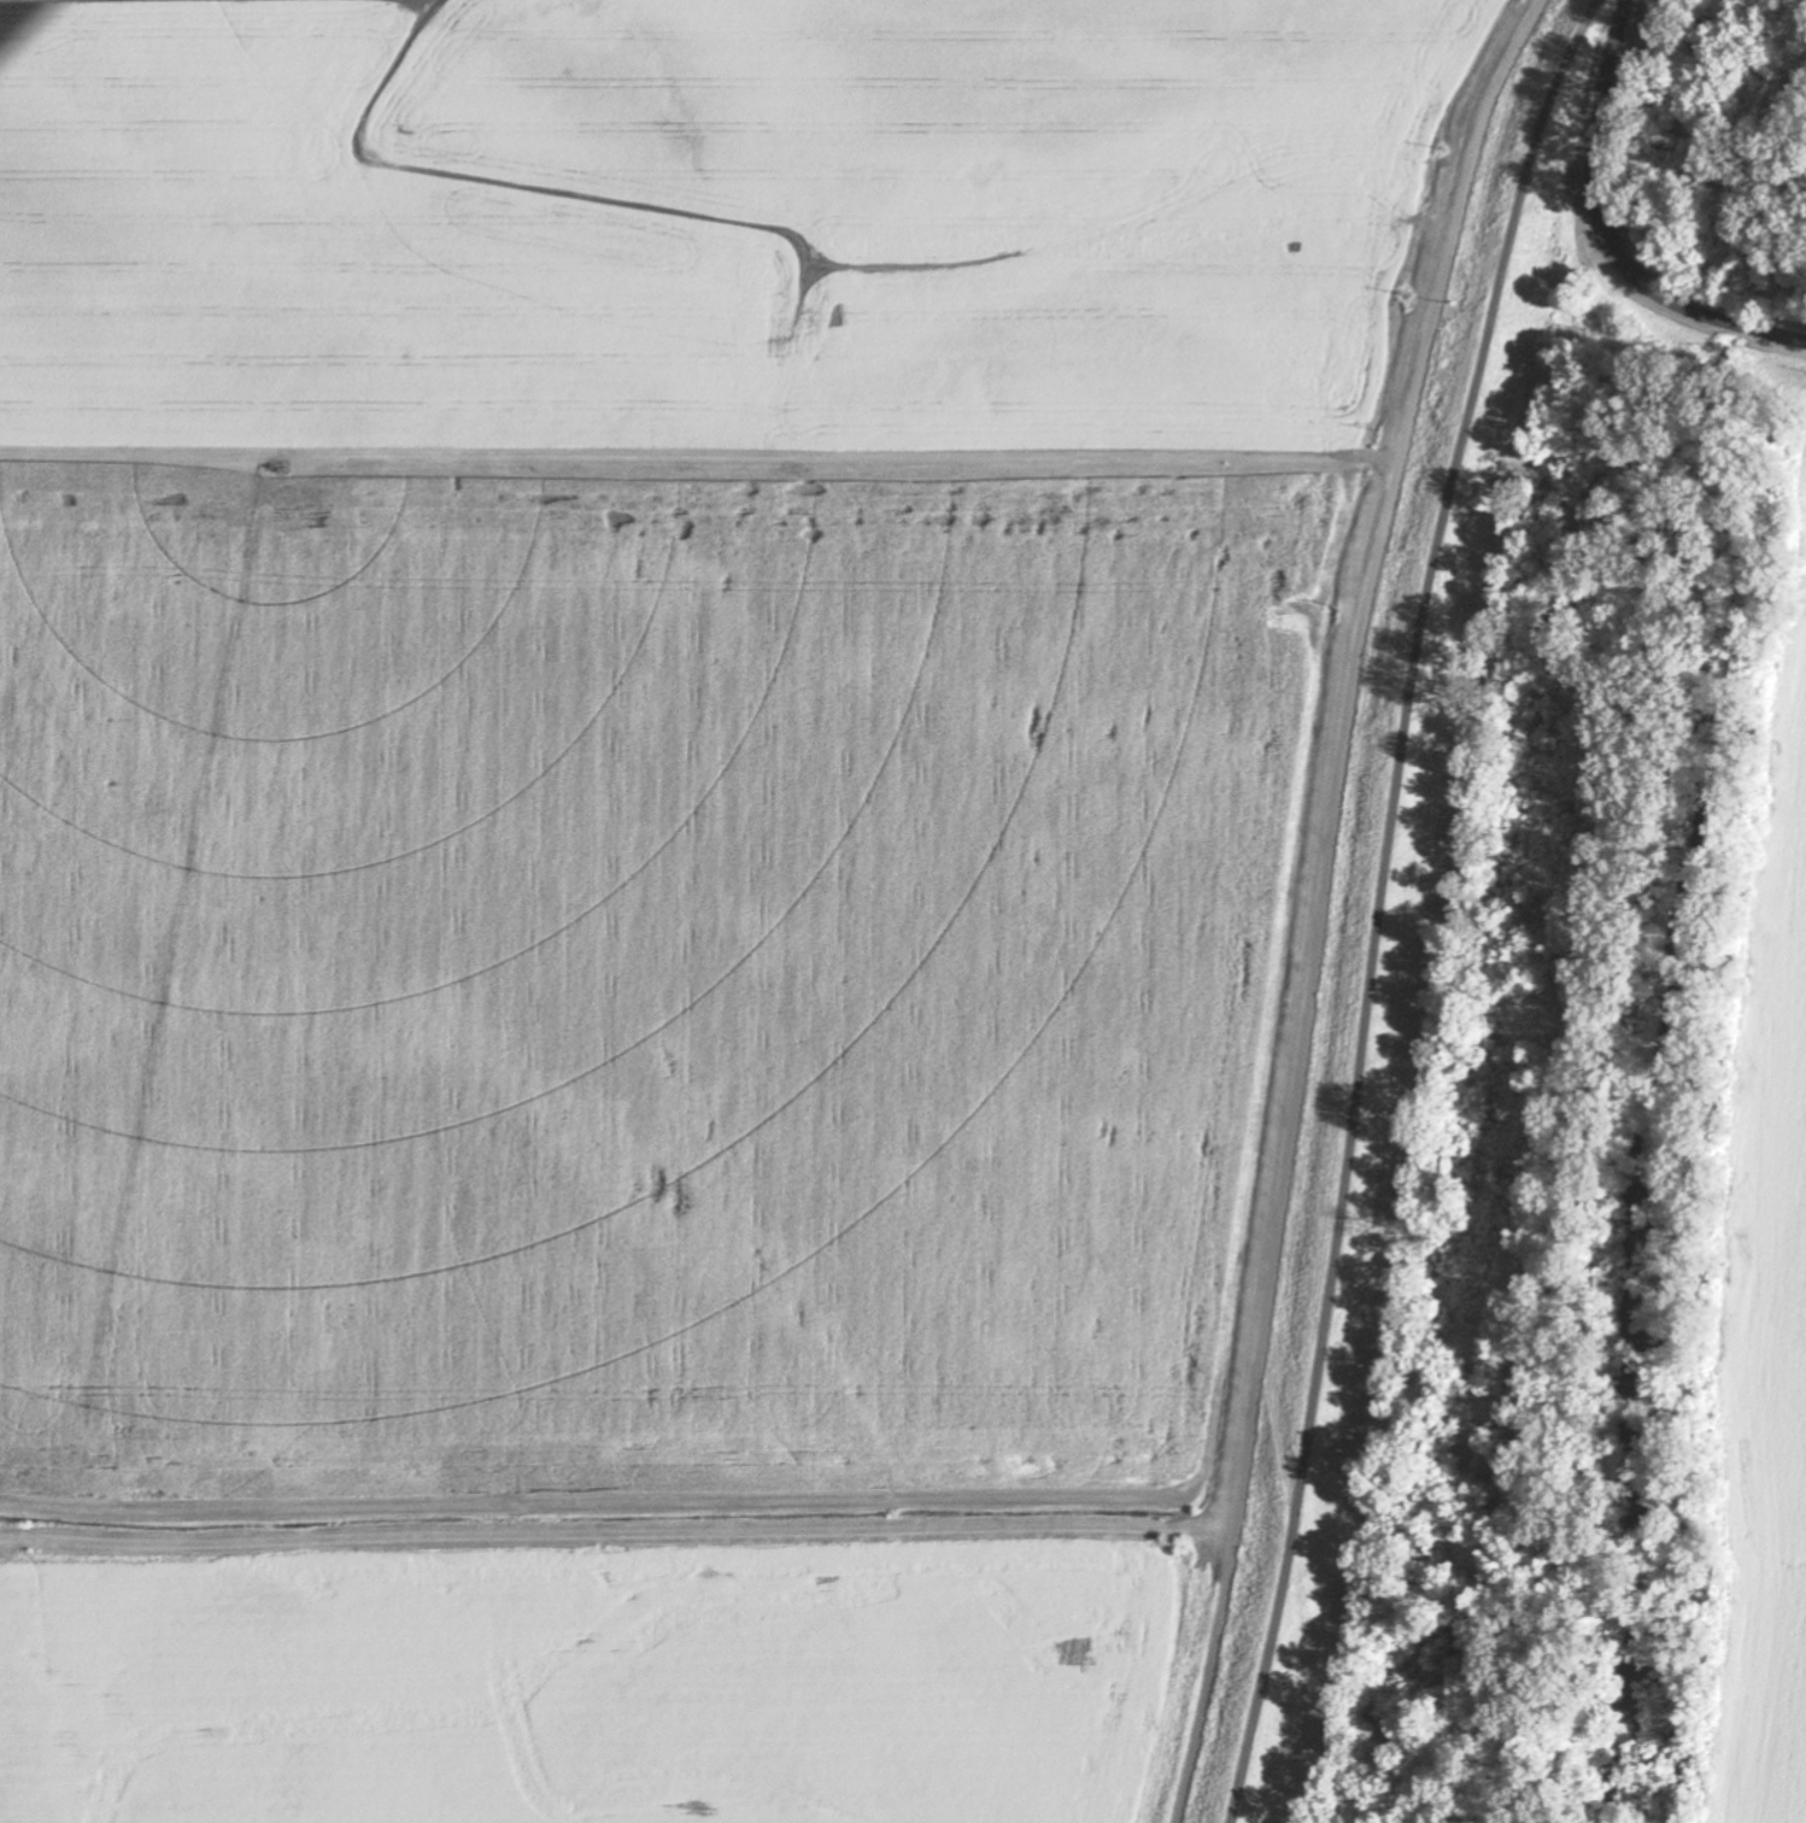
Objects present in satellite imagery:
road: (1608, 229)
road: (1318, 902)
road: (1388, 903)

